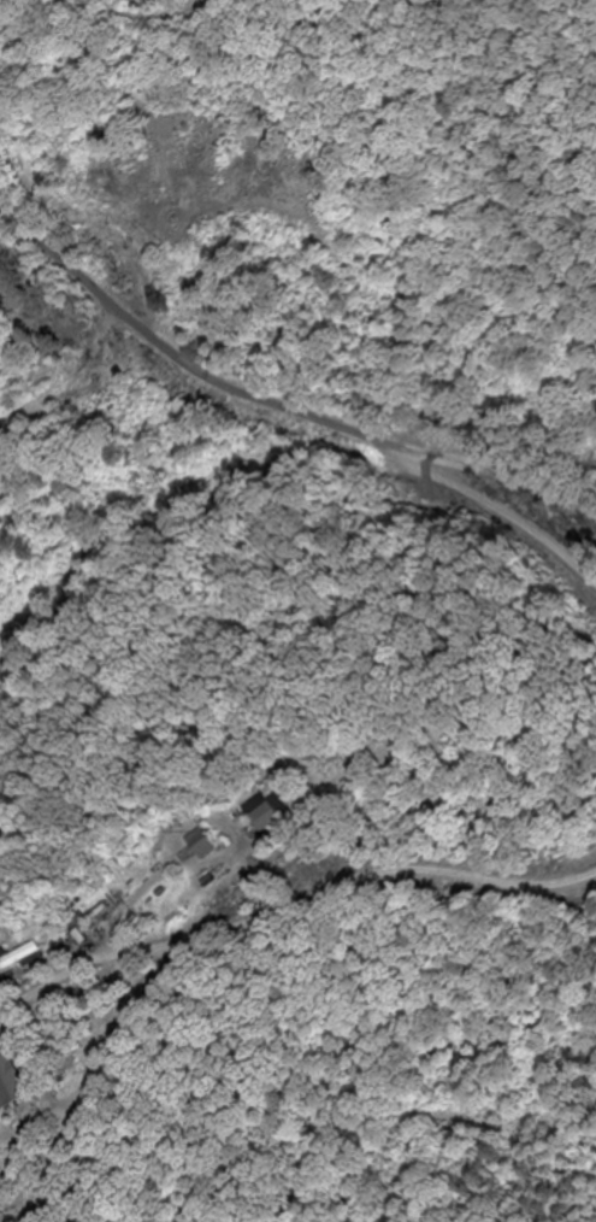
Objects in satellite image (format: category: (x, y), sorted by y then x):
building: (87, 393)
road: (273, 401)
road: (509, 518)
building: (267, 812)
building: (203, 845)
road: (290, 909)
building: (22, 957)

